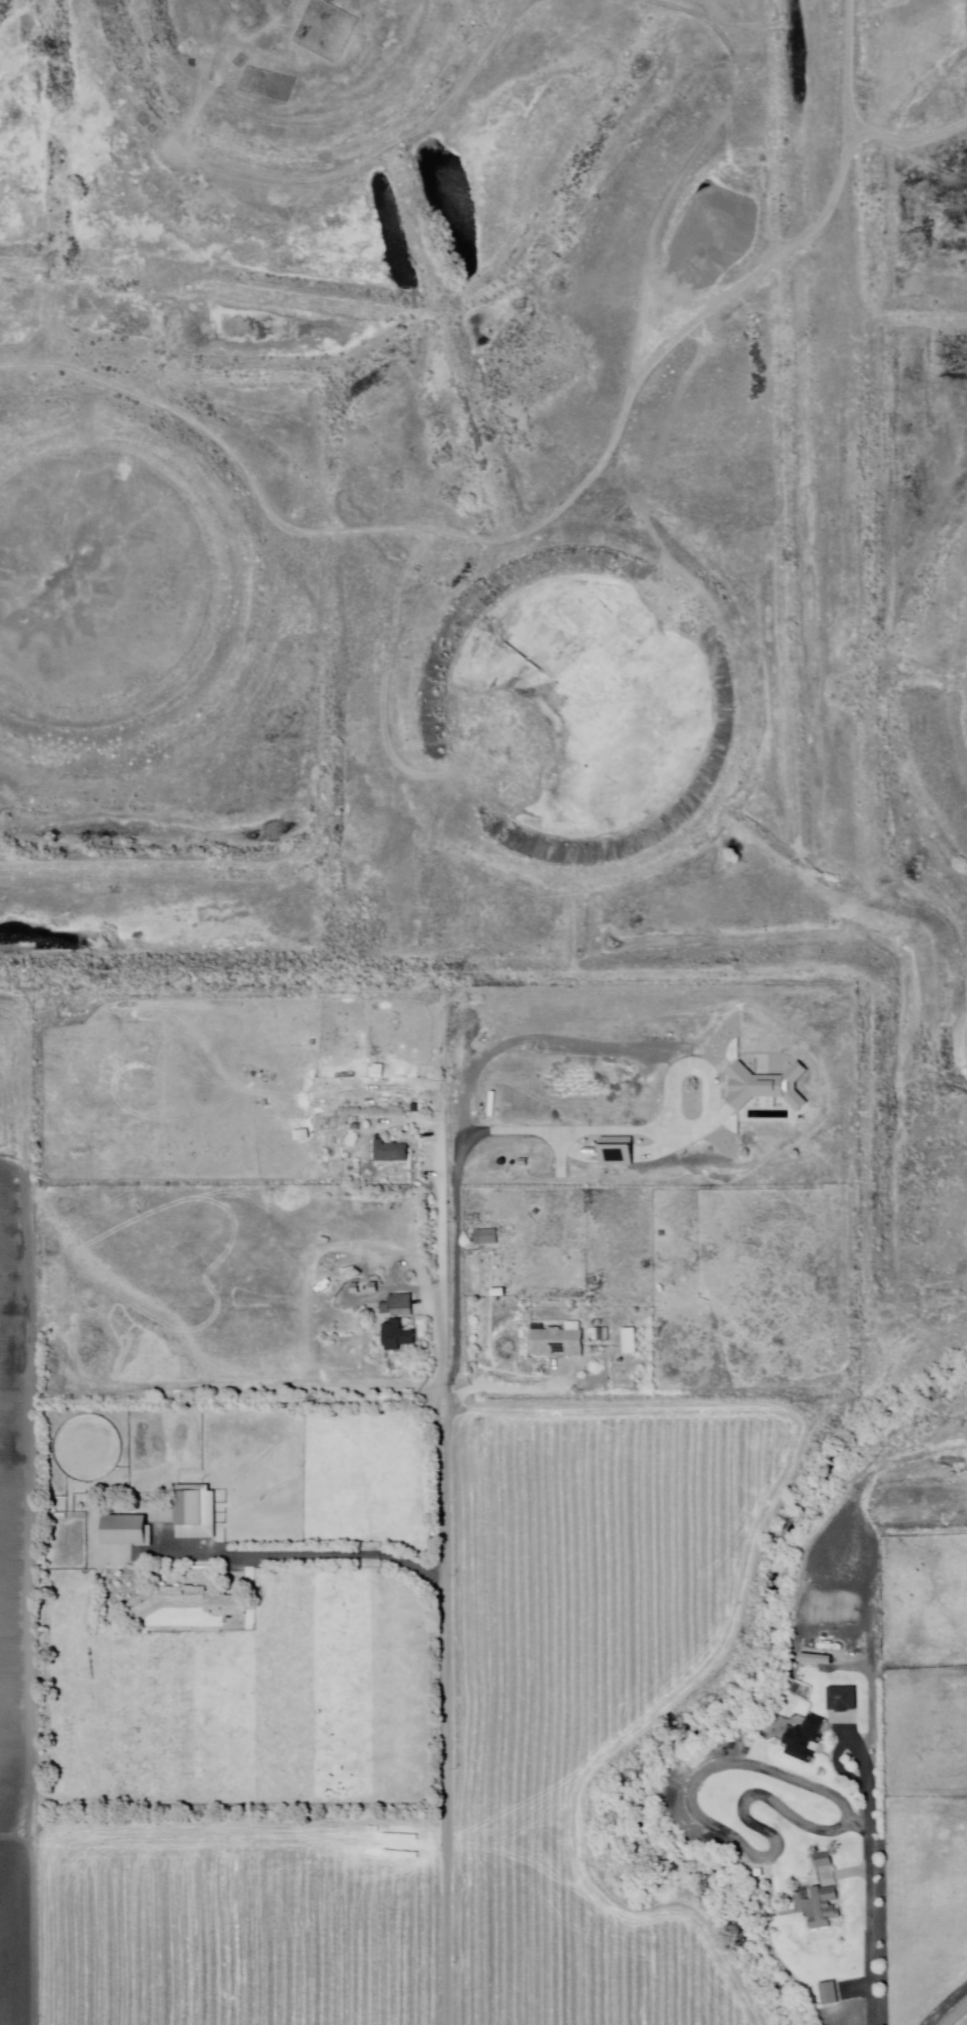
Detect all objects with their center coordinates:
crop: (14, 1066)
building: (415, 1107)
building: (391, 1153)
building: (486, 1238)
building: (374, 1266)
building: (373, 1287)
building: (398, 1305)
building: (606, 1334)
building: (397, 1335)
building: (557, 1342)
storage tank: (621, 1360)
road: (506, 1389)
building: (80, 1507)
building: (195, 1512)
building: (127, 1530)
road: (313, 1553)
crop: (596, 1575)
road: (446, 1579)
crop: (16, 1600)
building: (186, 1602)
building: (816, 1659)
building: (796, 1688)
building: (809, 1690)
crop: (246, 1697)
building: (843, 1699)
building: (805, 1739)
road: (839, 1765)
crop: (922, 1775)
road: (699, 1815)
road: (833, 1827)
building: (823, 1860)
road: (869, 1869)
building: (822, 1908)
crop: (236, 1922)
crop: (583, 1940)
building: (830, 1994)
road: (955, 2014)

